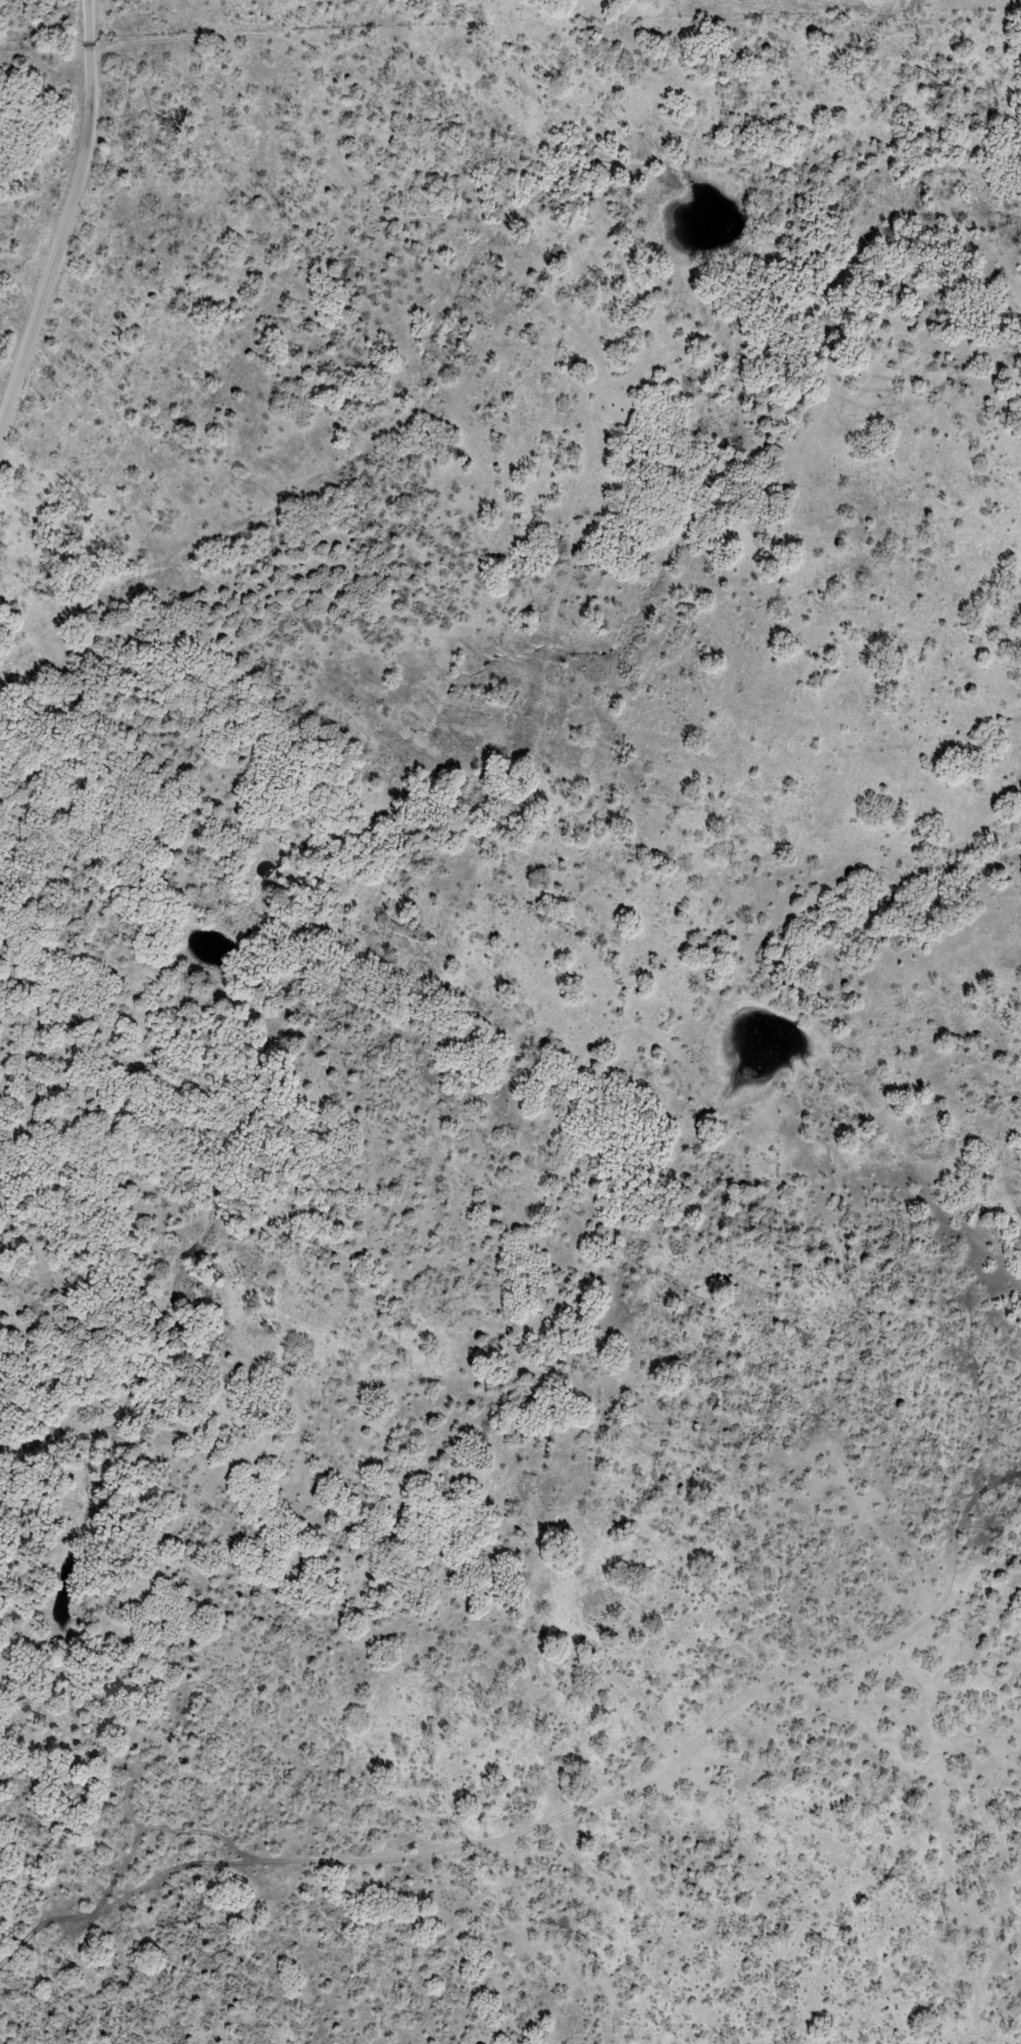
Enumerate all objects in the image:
road: (66, 217)

